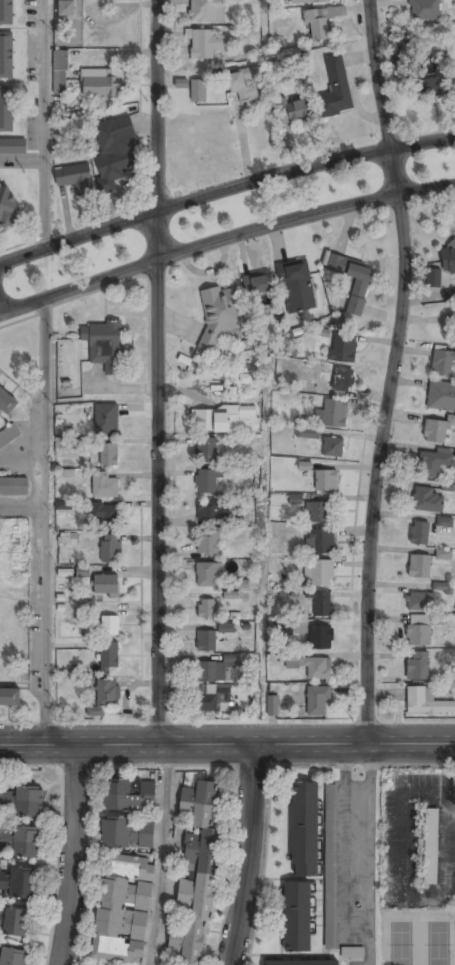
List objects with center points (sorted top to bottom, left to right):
building: (310, 2)
building: (65, 7)
building: (424, 10)
building: (206, 11)
building: (6, 12)
building: (319, 23)
building: (205, 44)
building: (6, 55)
building: (59, 72)
building: (454, 73)
building: (430, 76)
building: (180, 83)
building: (101, 84)
building: (245, 85)
building: (336, 87)
building: (197, 90)
building: (7, 108)
building: (295, 110)
road: (44, 124)
building: (71, 127)
building: (12, 146)
building: (113, 150)
building: (74, 178)
road: (224, 189)
building: (7, 206)
road: (225, 240)
building: (448, 260)
building: (433, 279)
building: (259, 284)
building: (296, 286)
building: (358, 296)
building: (220, 313)
building: (103, 344)
building: (342, 348)
building: (443, 362)
road: (392, 371)
road: (157, 372)
building: (341, 379)
building: (441, 396)
building: (7, 401)
building: (331, 413)
building: (219, 418)
building: (106, 419)
building: (435, 431)
building: (307, 432)
building: (9, 435)
building: (333, 446)
building: (205, 450)
building: (108, 454)
building: (433, 463)
building: (326, 479)
building: (206, 481)
building: (105, 485)
building: (14, 486)
building: (428, 501)
building: (63, 505)
road: (23, 507)
building: (209, 511)
building: (104, 513)
building: (319, 513)
road: (46, 521)
building: (444, 522)
building: (419, 533)
building: (67, 538)
building: (319, 541)
building: (208, 544)
building: (109, 548)
building: (443, 555)
building: (419, 566)
building: (318, 572)
building: (206, 574)
building: (105, 585)
building: (442, 587)
building: (418, 602)
building: (322, 604)
building: (206, 608)
building: (110, 625)
building: (283, 627)
building: (225, 628)
building: (419, 631)
building: (319, 637)
building: (206, 641)
building: (108, 657)
building: (416, 665)
building: (311, 667)
building: (211, 672)
building: (10, 697)
building: (105, 697)
building: (214, 698)
building: (317, 701)
building: (426, 703)
building: (272, 706)
road: (227, 744)
building: (129, 796)
building: (21, 802)
building: (304, 829)
building: (127, 833)
building: (18, 841)
building: (430, 846)
road: (70, 855)
road: (162, 855)
road: (250, 855)
building: (329, 866)
building: (197, 879)
building: (17, 882)
building: (123, 909)
building: (297, 917)
building: (14, 922)
building: (351, 952)
building: (13, 957)
building: (301, 963)

